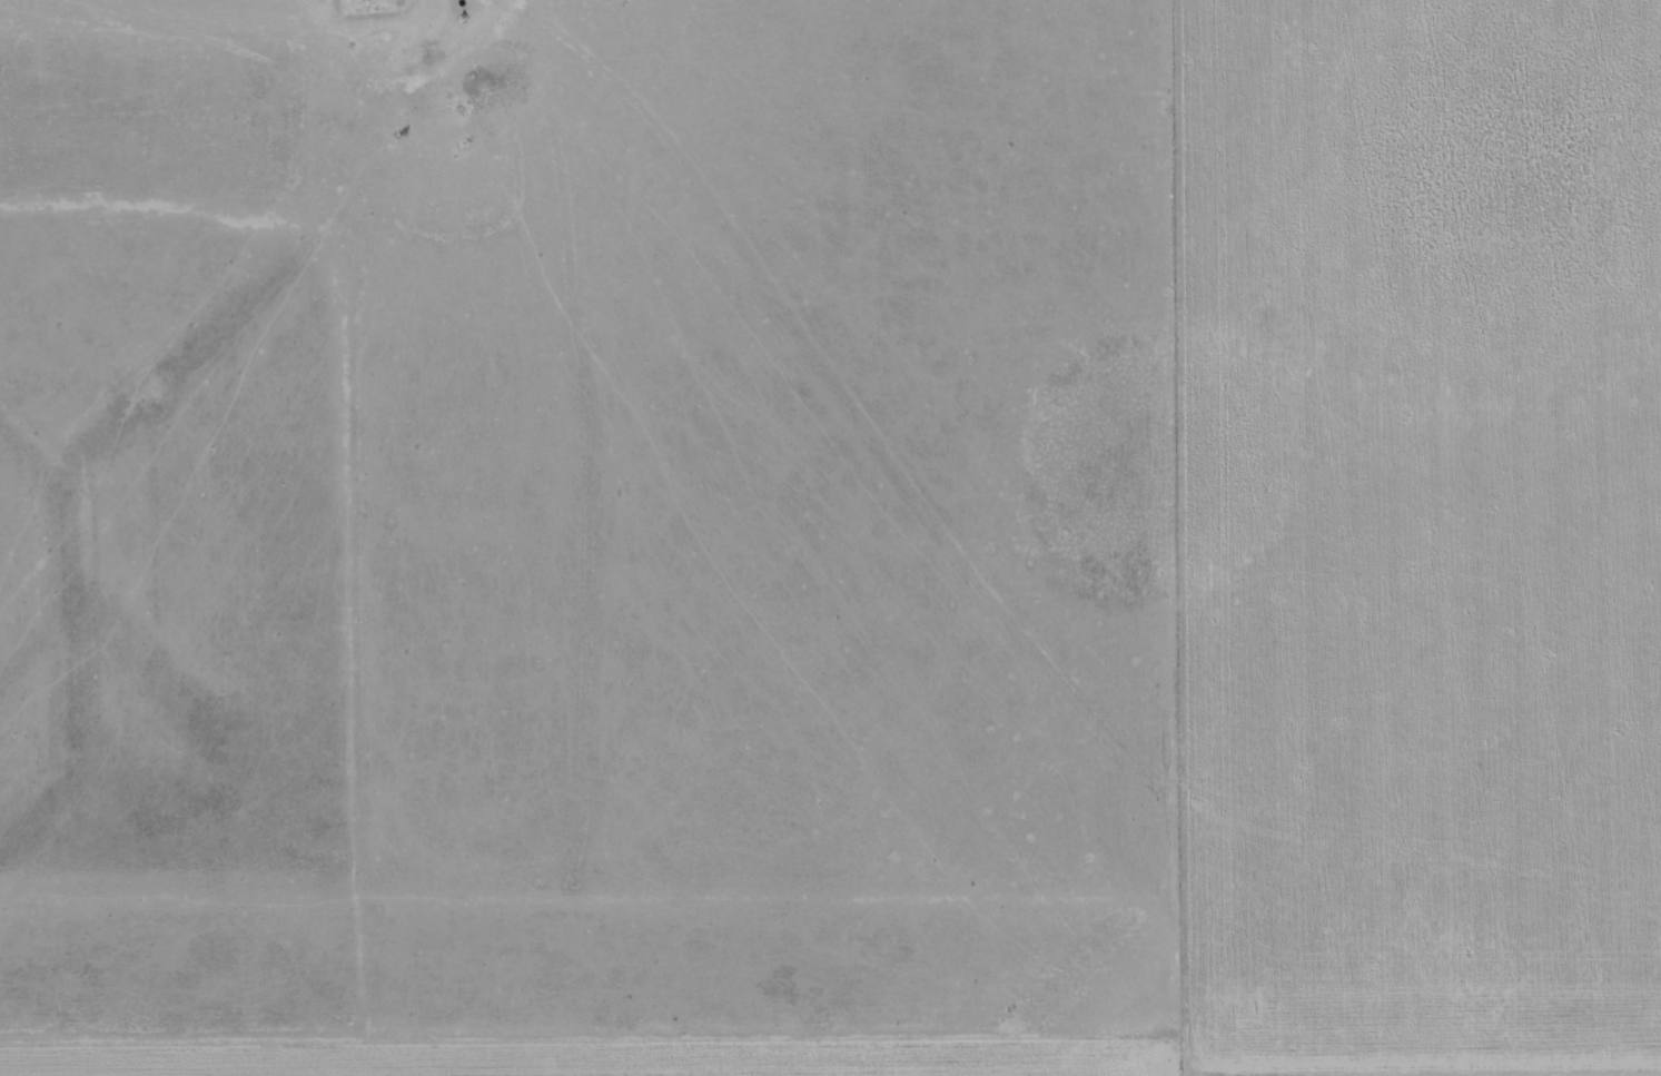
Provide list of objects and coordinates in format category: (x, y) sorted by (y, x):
road: (206, 122)

